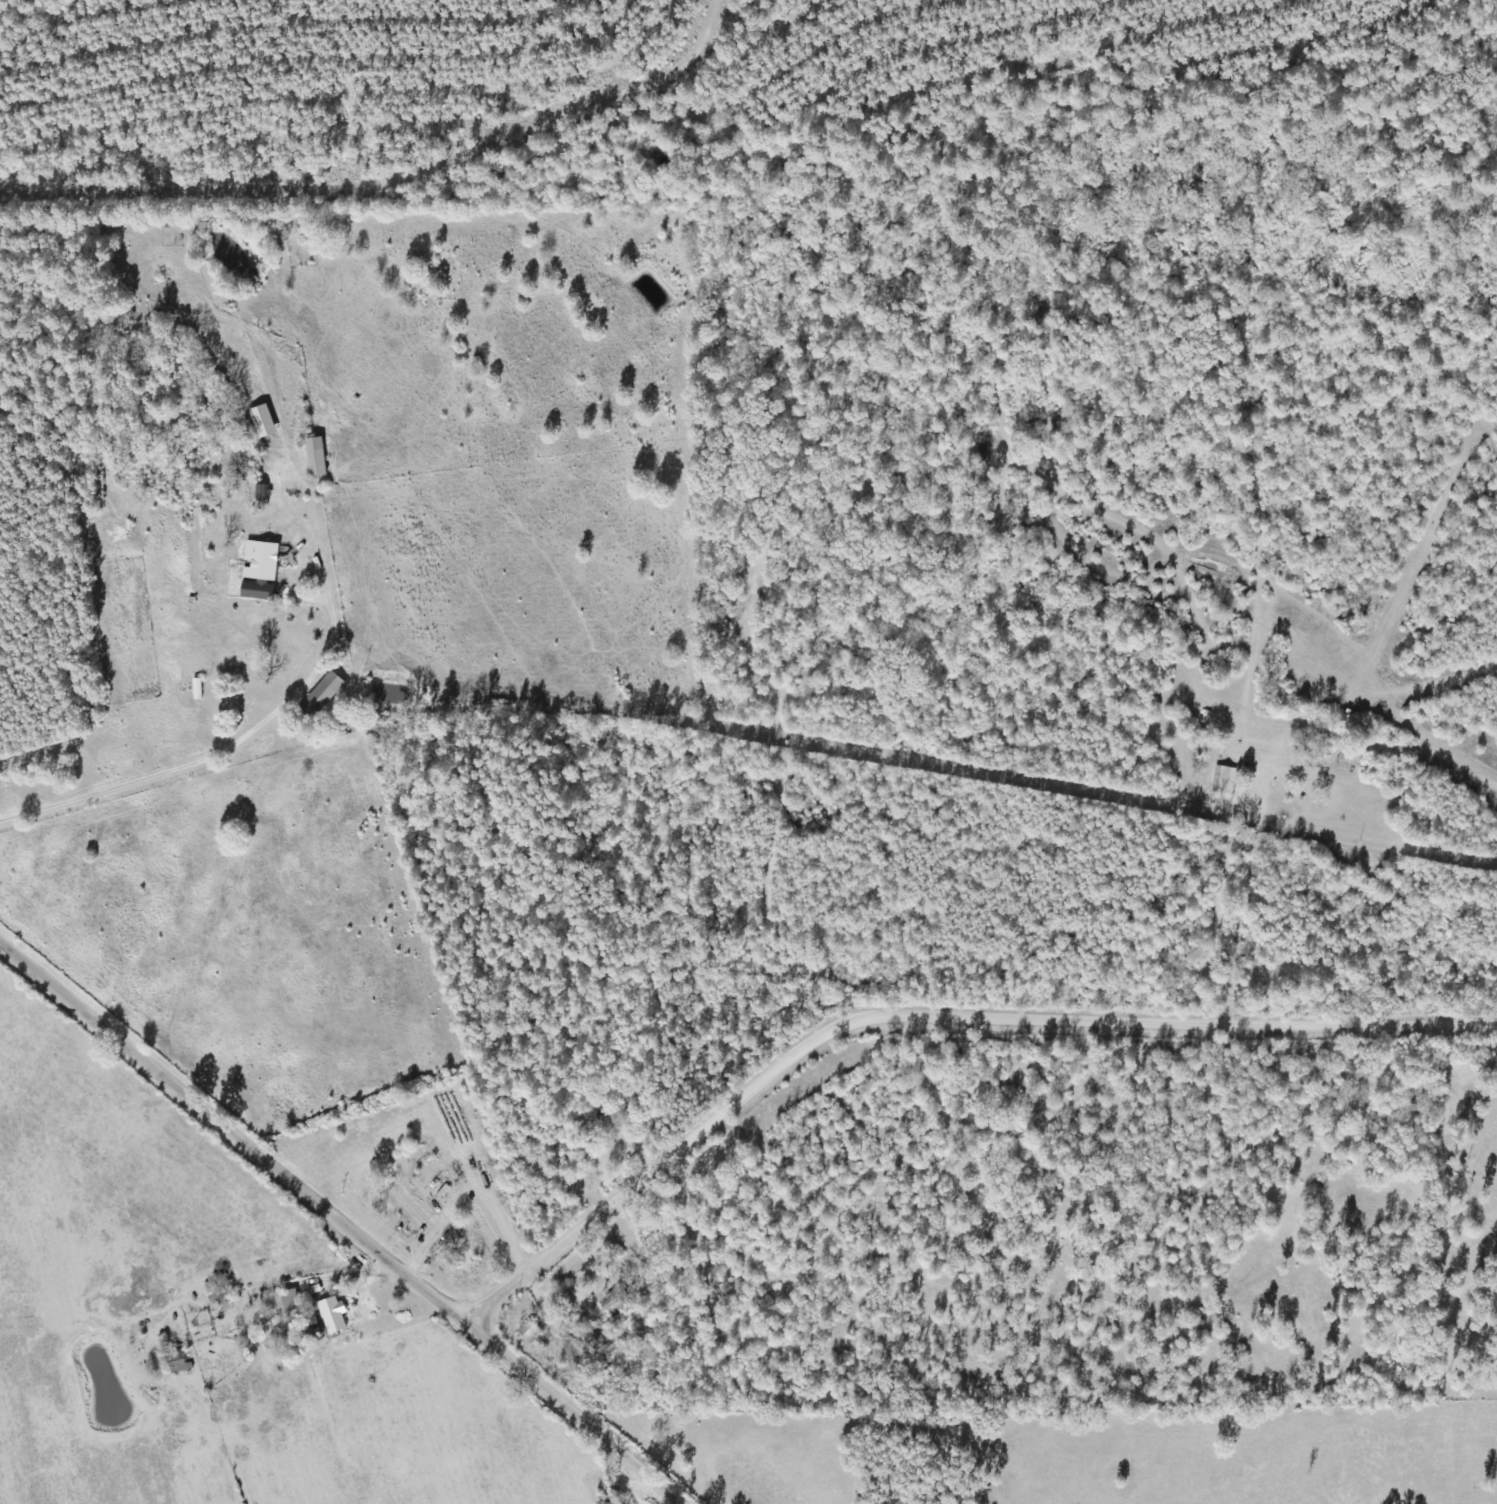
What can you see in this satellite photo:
road: (365, 191)
building: (264, 421)
building: (316, 457)
building: (260, 571)
building: (322, 696)
road: (184, 778)
building: (1224, 780)
road: (936, 1037)
road: (746, 1040)
road: (340, 1221)
building: (287, 1302)
building: (333, 1315)
building: (529, 1330)
building: (179, 1362)

